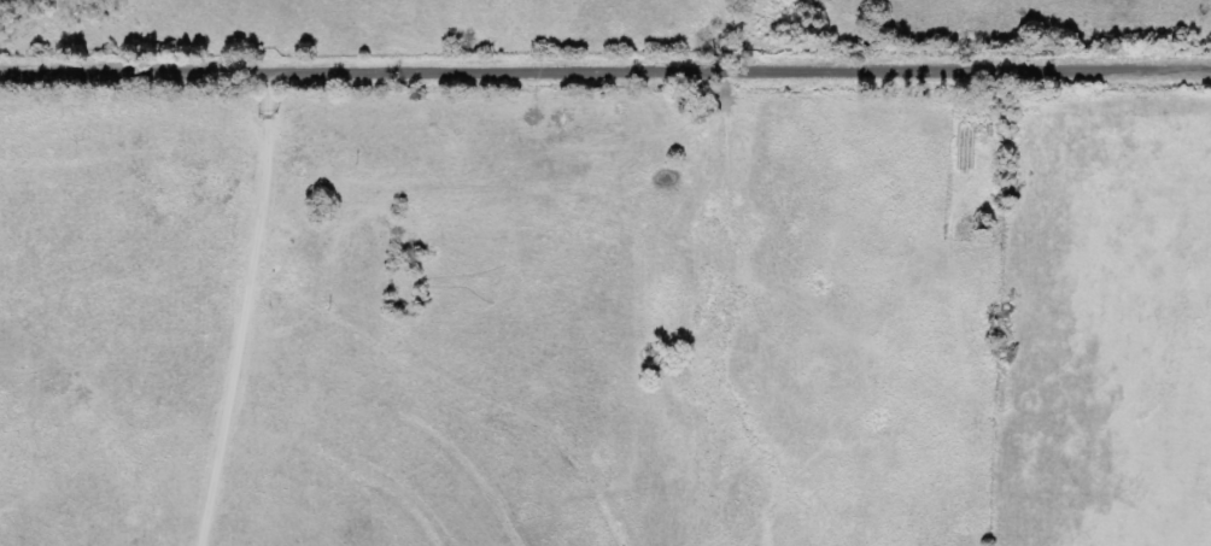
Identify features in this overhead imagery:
road: (604, 71)
road: (81, 284)

